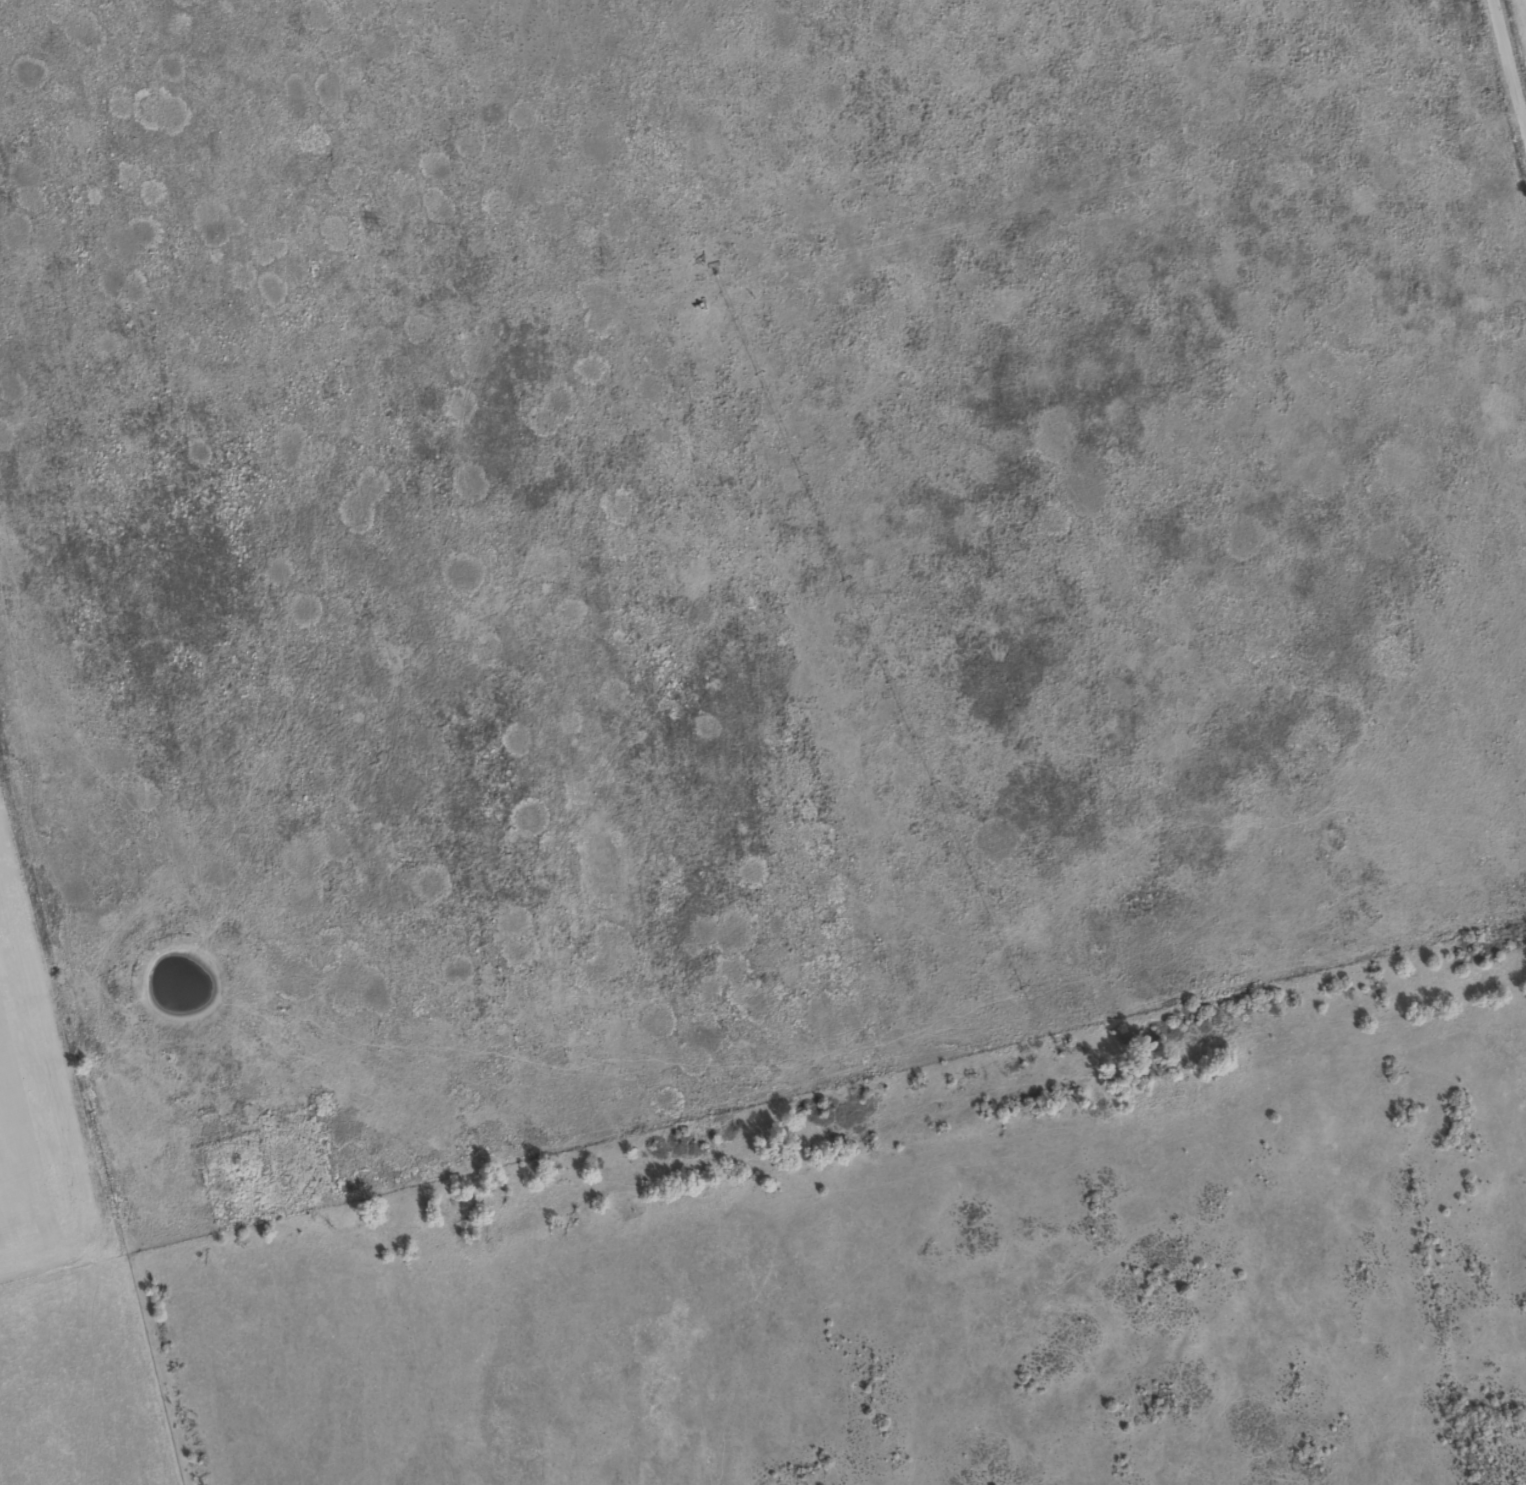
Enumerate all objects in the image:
road: (1505, 79)

